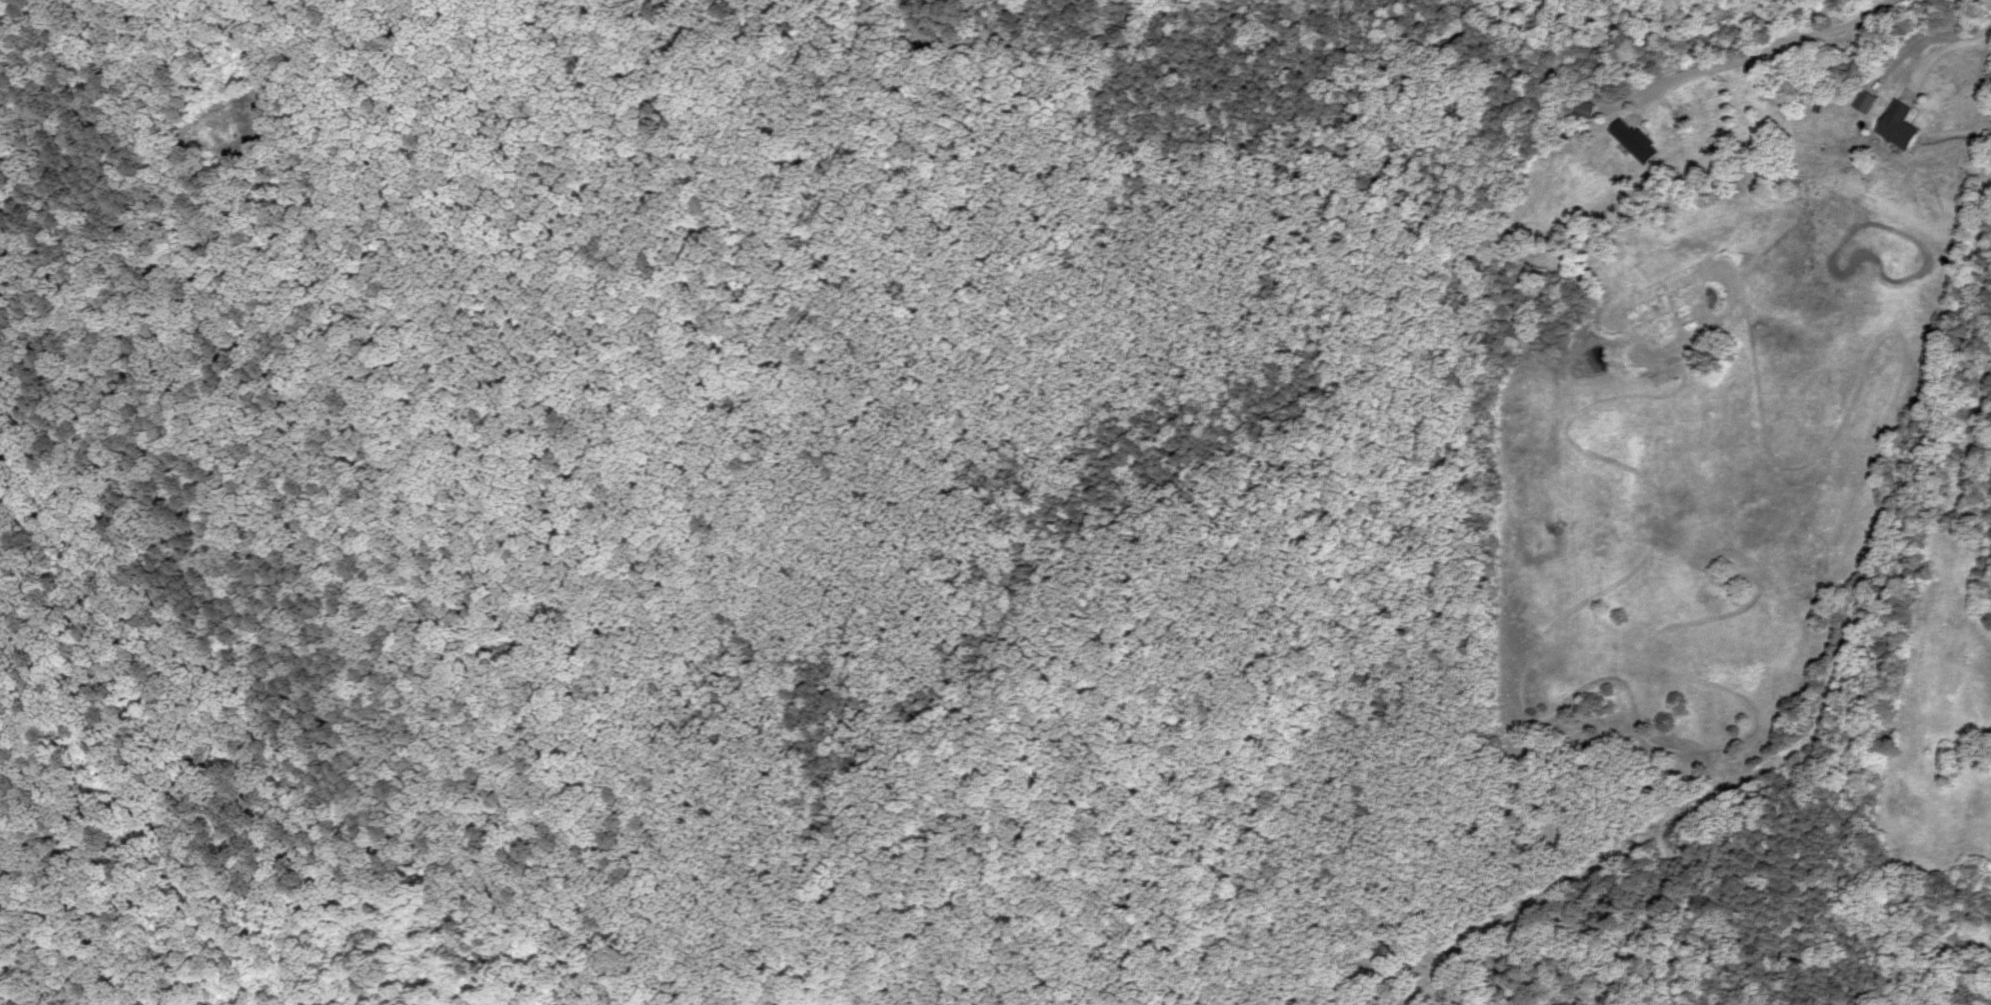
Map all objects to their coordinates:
road: (1858, 18)
building: (1866, 103)
building: (1586, 111)
building: (1901, 127)
building: (1635, 141)

